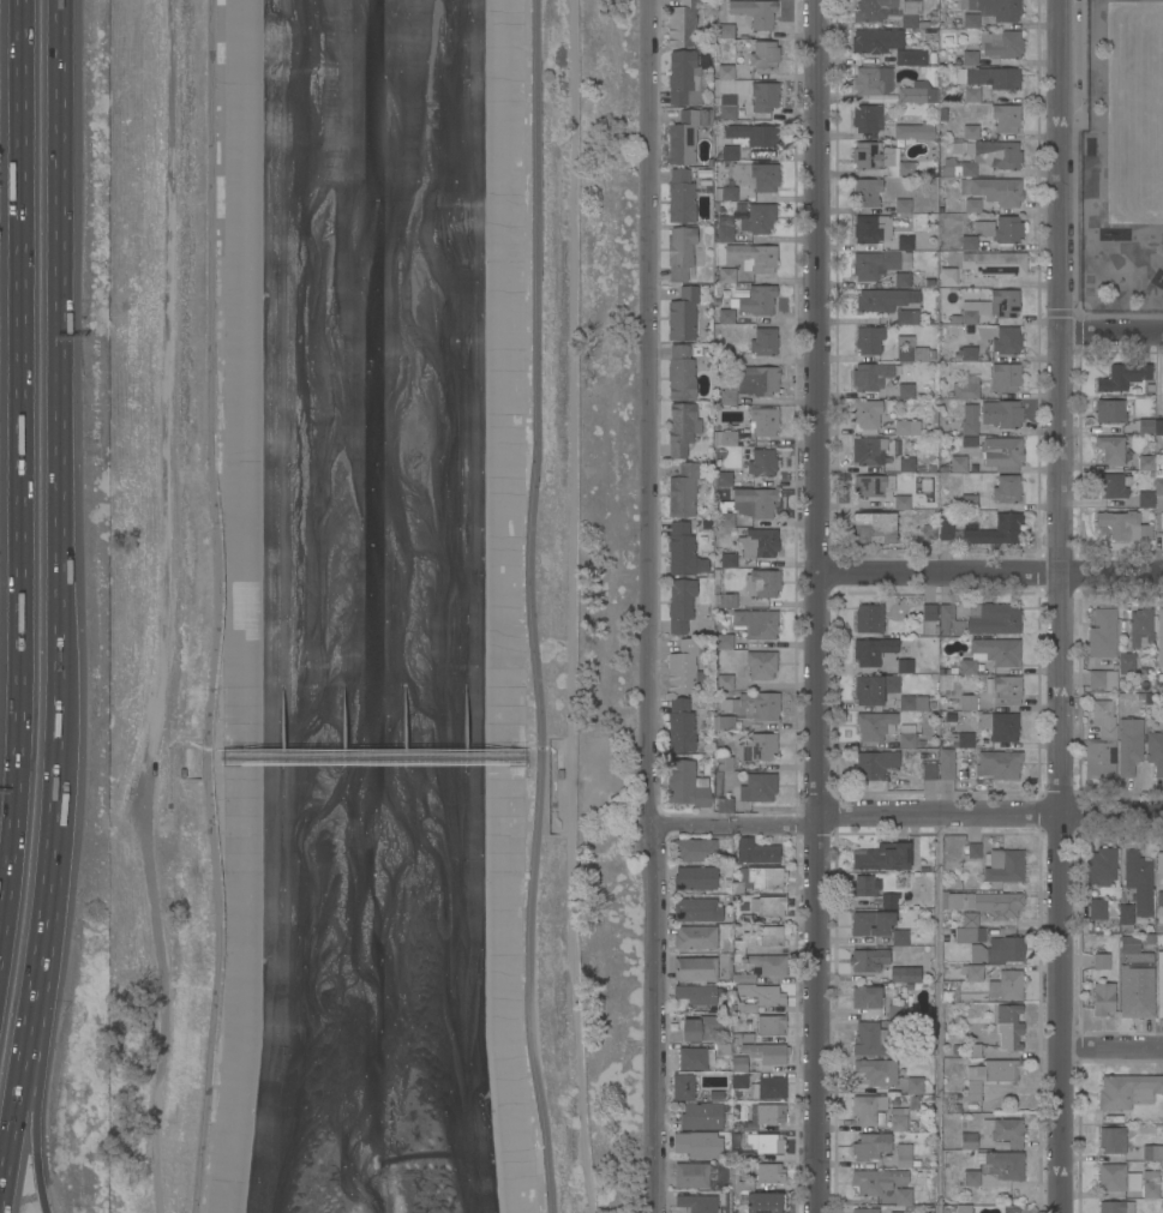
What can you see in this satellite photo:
building: (888, 11)
building: (991, 11)
building: (754, 12)
building: (682, 23)
building: (725, 31)
building: (876, 41)
building: (1001, 44)
building: (763, 54)
building: (903, 58)
building: (967, 58)
building: (725, 72)
building: (990, 77)
building: (683, 78)
building: (873, 80)
building: (917, 92)
building: (971, 95)
building: (763, 96)
building: (727, 112)
building: (705, 116)
building: (867, 118)
building: (1006, 118)
building: (915, 131)
building: (970, 132)
building: (754, 134)
building: (683, 137)
building: (730, 154)
building: (991, 155)
building: (871, 156)
building: (905, 168)
building: (703, 173)
building: (756, 175)
building: (997, 190)
building: (867, 192)
building: (725, 193)
building: (681, 196)
building: (903, 205)
building: (972, 205)
building: (760, 217)
building: (871, 228)
building: (725, 229)
building: (1000, 229)
building: (905, 242)
building: (969, 242)
building: (682, 252)
building: (753, 257)
building: (995, 263)
building: (879, 264)
building: (726, 275)
building: (947, 276)
building: (901, 278)
building: (759, 299)
building: (885, 300)
building: (1003, 304)
building: (969, 312)
building: (683, 313)
building: (726, 316)
building: (906, 316)
building: (954, 319)
building: (702, 320)
road: (1113, 334)
building: (869, 338)
building: (1007, 340)
building: (765, 341)
building: (701, 350)
building: (912, 353)
building: (969, 353)
building: (725, 355)
building: (681, 372)
building: (1122, 376)
building: (870, 377)
building: (1005, 377)
building: (750, 383)
building: (1162, 386)
building: (965, 388)
building: (905, 390)
building: (1113, 410)
building: (867, 413)
building: (1007, 414)
road: (23, 415)
building: (763, 421)
building: (970, 422)
building: (1150, 425)
building: (682, 427)
building: (906, 427)
building: (724, 437)
building: (1110, 448)
building: (868, 450)
building: (1002, 454)
building: (1146, 462)
building: (762, 463)
building: (958, 463)
building: (906, 464)
building: (721, 478)
building: (1113, 485)
building: (874, 486)
building: (684, 488)
building: (1007, 488)
building: (1150, 493)
building: (901, 503)
building: (747, 505)
building: (1123, 526)
building: (874, 527)
building: (945, 528)
building: (996, 530)
building: (928, 532)
building: (759, 542)
building: (683, 551)
building: (729, 559)
road: (990, 574)
building: (762, 583)
building: (725, 600)
building: (681, 604)
park: (592, 605)
river: (370, 606)
road: (652, 606)
road: (819, 606)
road: (1061, 606)
road: (221, 607)
road: (529, 607)
road: (62, 608)
building: (928, 612)
building: (869, 618)
building: (993, 618)
building: (948, 620)
building: (755, 623)
building: (1140, 626)
building: (1103, 633)
building: (1159, 637)
building: (724, 641)
building: (871, 650)
building: (999, 650)
building: (1125, 662)
building: (761, 663)
building: (905, 666)
building: (967, 666)
building: (685, 668)
building: (1101, 680)
building: (723, 681)
building: (874, 687)
building: (1005, 689)
building: (892, 702)
building: (967, 702)
building: (912, 703)
building: (756, 705)
building: (726, 722)
building: (682, 725)
building: (875, 725)
building: (1000, 726)
building: (906, 739)
building: (961, 740)
building: (1101, 743)
building: (1129, 745)
building: (757, 746)
building: (1155, 751)
building: (724, 763)
building: (875, 763)
building: (947, 763)
building: (999, 764)
building: (928, 771)
building: (687, 785)
building: (757, 787)
building: (724, 805)
road: (907, 816)
building: (915, 847)
building: (695, 849)
building: (972, 849)
building: (756, 851)
building: (882, 858)
road: (8, 861)
building: (1159, 861)
building: (1003, 865)
building: (1102, 866)
building: (915, 867)
building: (696, 877)
building: (759, 878)
building: (1139, 881)
building: (865, 885)
building: (888, 900)
building: (985, 902)
building: (1159, 903)
building: (768, 906)
building: (1097, 908)
building: (697, 909)
building: (1111, 909)
road: (8, 913)
building: (1126, 918)
building: (970, 919)
building: (871, 923)
building: (969, 935)
building: (695, 937)
building: (899, 937)
building: (760, 938)
building: (999, 950)
building: (869, 959)
building: (1101, 961)
building: (1139, 962)
building: (767, 963)
building: (695, 968)
building: (898, 973)
building: (973, 973)
building: (743, 977)
building: (1006, 985)
building: (1159, 986)
building: (696, 993)
building: (757, 996)
building: (868, 997)
building: (1103, 997)
building: (898, 1011)
road: (941, 1014)
building: (771, 1025)
building: (702, 1027)
building: (1008, 1027)
building: (742, 1038)
building: (871, 1040)
road: (1110, 1047)
building: (973, 1050)
building: (766, 1052)
building: (691, 1057)
building: (738, 1064)
building: (877, 1070)
building: (738, 1080)
building: (988, 1080)
building: (683, 1086)
building: (915, 1086)
building: (768, 1088)
building: (1128, 1091)
building: (868, 1107)
building: (701, 1116)
building: (762, 1116)
road: (34, 1118)
building: (898, 1118)
building: (1005, 1130)
building: (1111, 1139)
building: (969, 1141)
building: (766, 1142)
building: (699, 1145)
building: (1002, 1145)
building: (870, 1146)
building: (1152, 1152)
building: (741, 1154)
building: (904, 1155)
building: (888, 1163)
building: (1001, 1164)
building: (769, 1173)
building: (691, 1175)
building: (1150, 1175)
building: (971, 1177)
building: (1111, 1177)
building: (876, 1181)
building: (1133, 1182)
building: (741, 1183)
building: (1151, 1189)
building: (904, 1196)
building: (696, 1202)
building: (765, 1202)
building: (1116, 1206)
building: (964, 1208)
building: (864, 1209)
building: (895, 1212)

